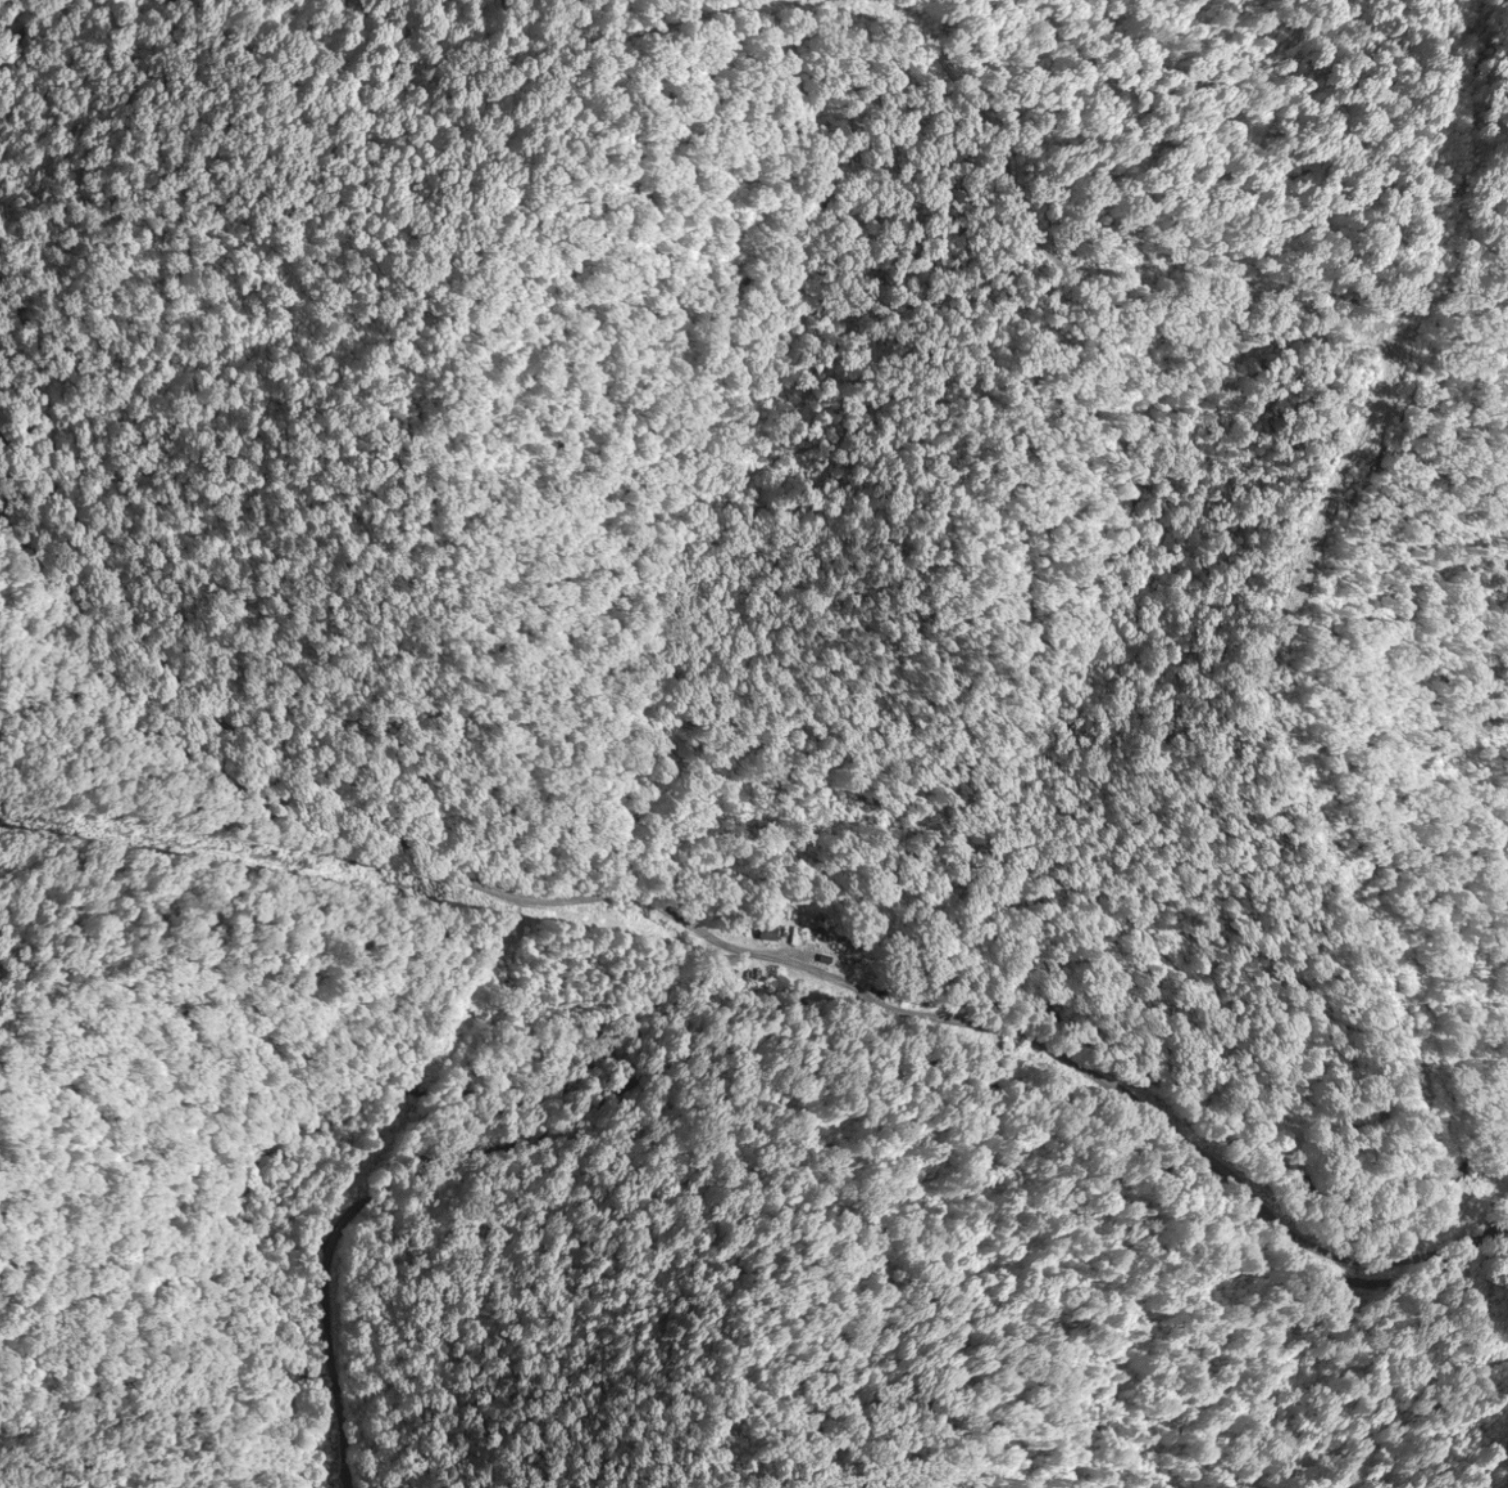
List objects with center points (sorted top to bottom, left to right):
road: (27, 14)
road: (424, 819)
road: (524, 1119)
road: (1239, 1194)
road: (1494, 1222)

